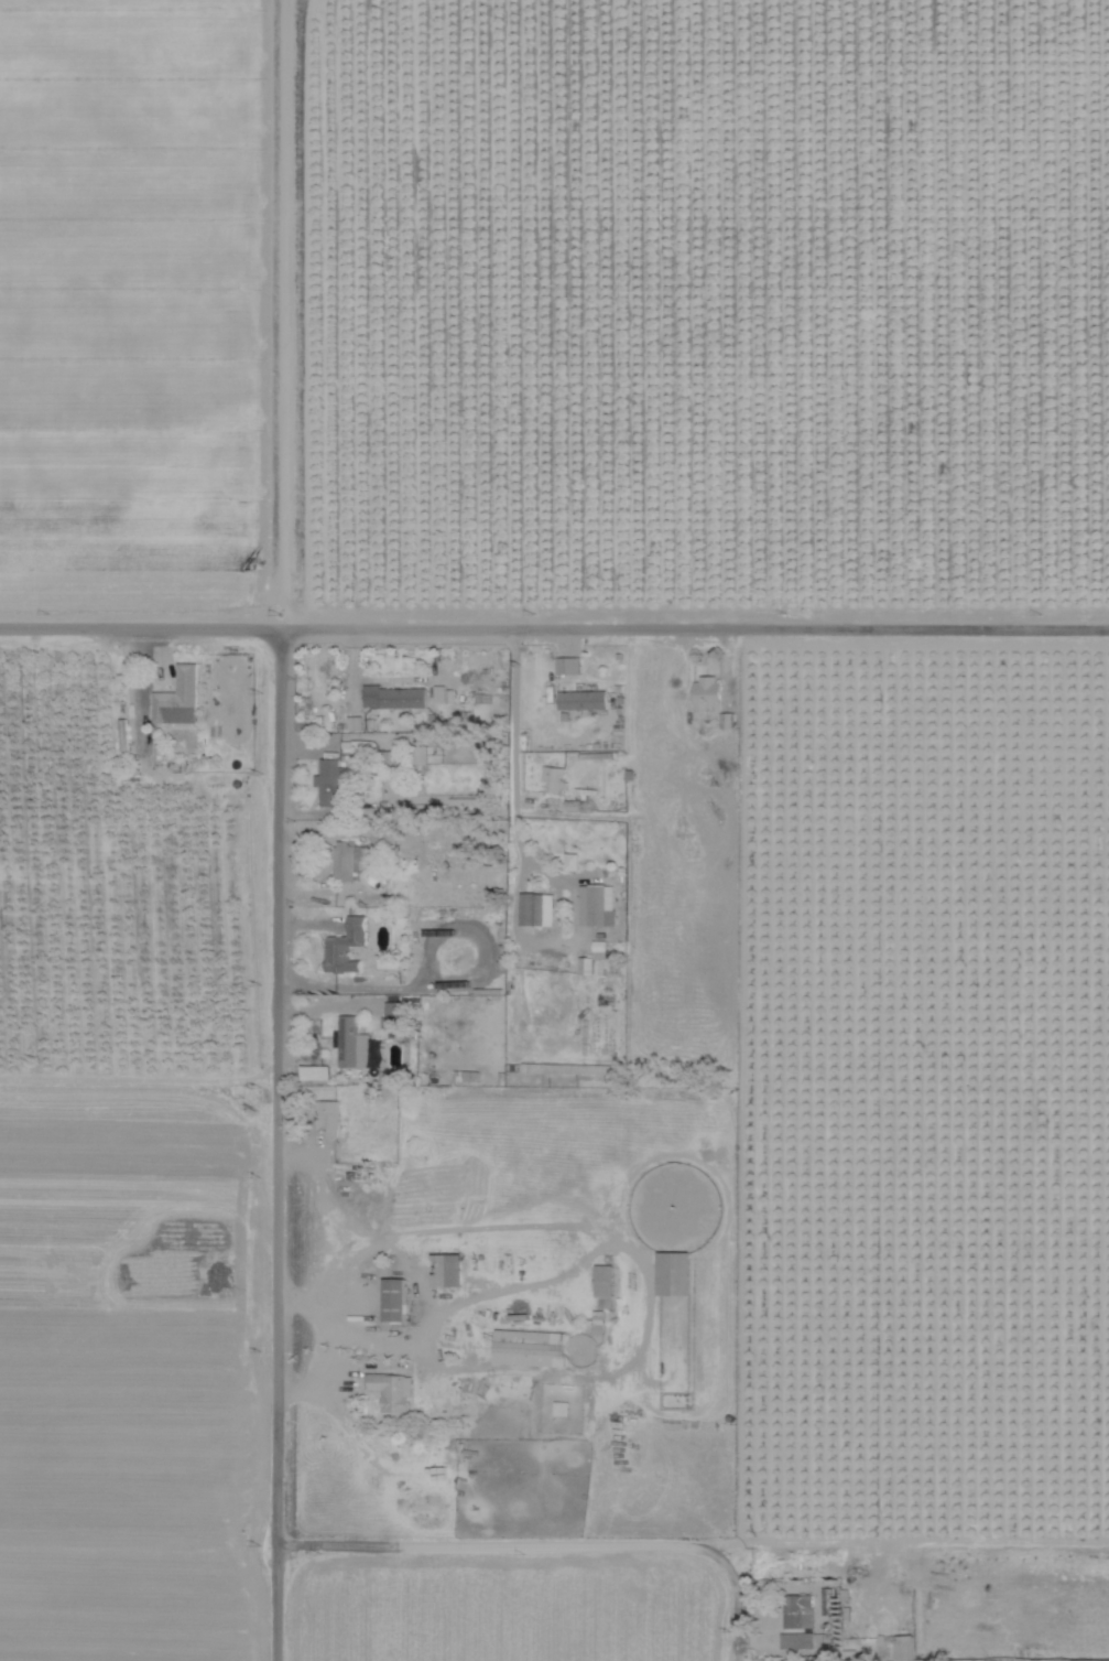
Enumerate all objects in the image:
crop: (553, 298)
road: (302, 310)
road: (554, 619)
building: (567, 662)
building: (705, 691)
building: (443, 692)
building: (393, 694)
building: (176, 695)
building: (581, 697)
road: (518, 740)
building: (417, 752)
building: (553, 776)
building: (328, 778)
building: (570, 802)
building: (347, 858)
building: (570, 860)
building: (456, 884)
building: (596, 903)
building: (535, 906)
building: (345, 943)
building: (598, 947)
building: (585, 963)
building: (392, 1012)
building: (351, 1040)
building: (327, 1114)
road: (287, 1140)
building: (446, 1268)
building: (672, 1271)
building: (604, 1279)
building: (392, 1297)
building: (597, 1319)
building: (528, 1346)
building: (391, 1389)
road: (557, 1545)
building: (826, 1598)
building: (797, 1611)
building: (796, 1639)
building: (894, 1646)

